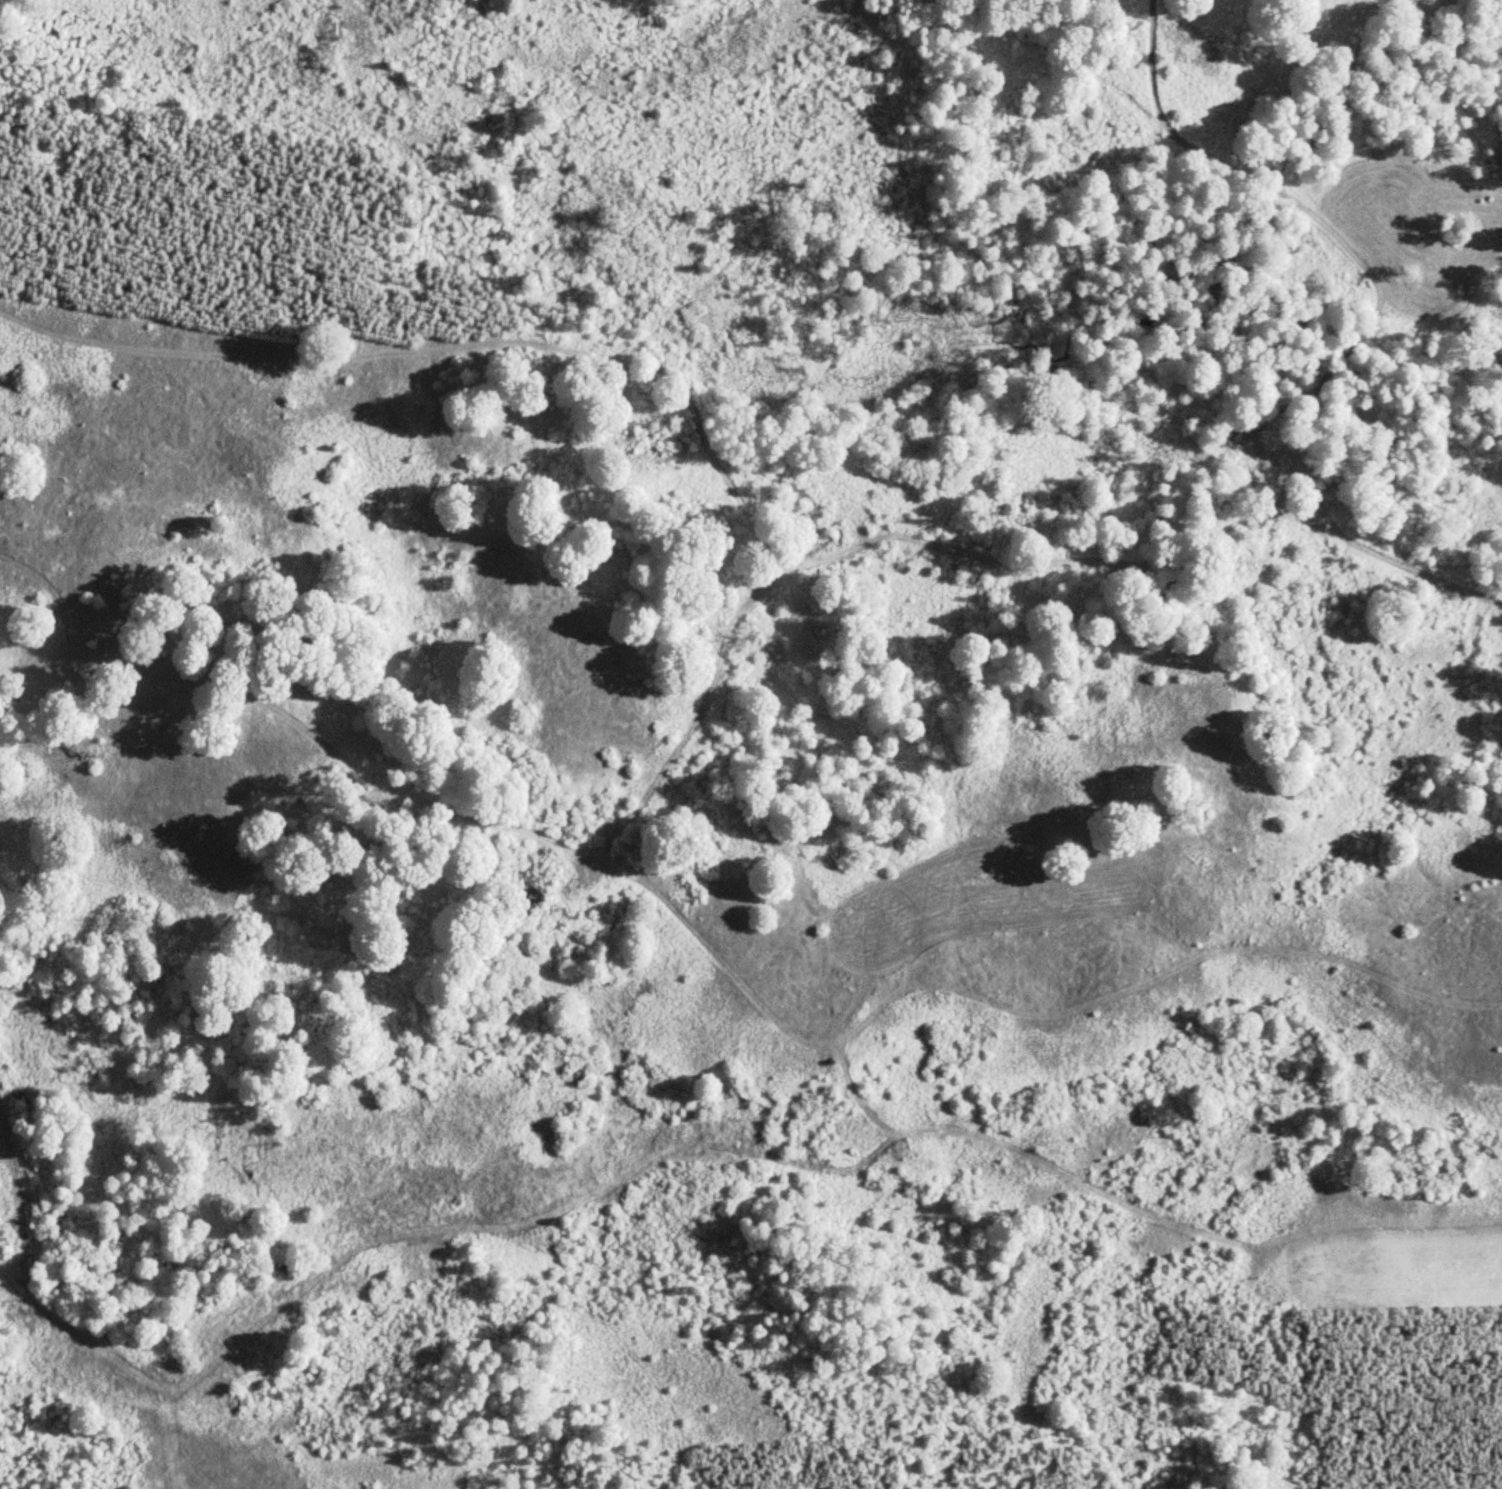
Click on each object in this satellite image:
road: (1216, 160)

